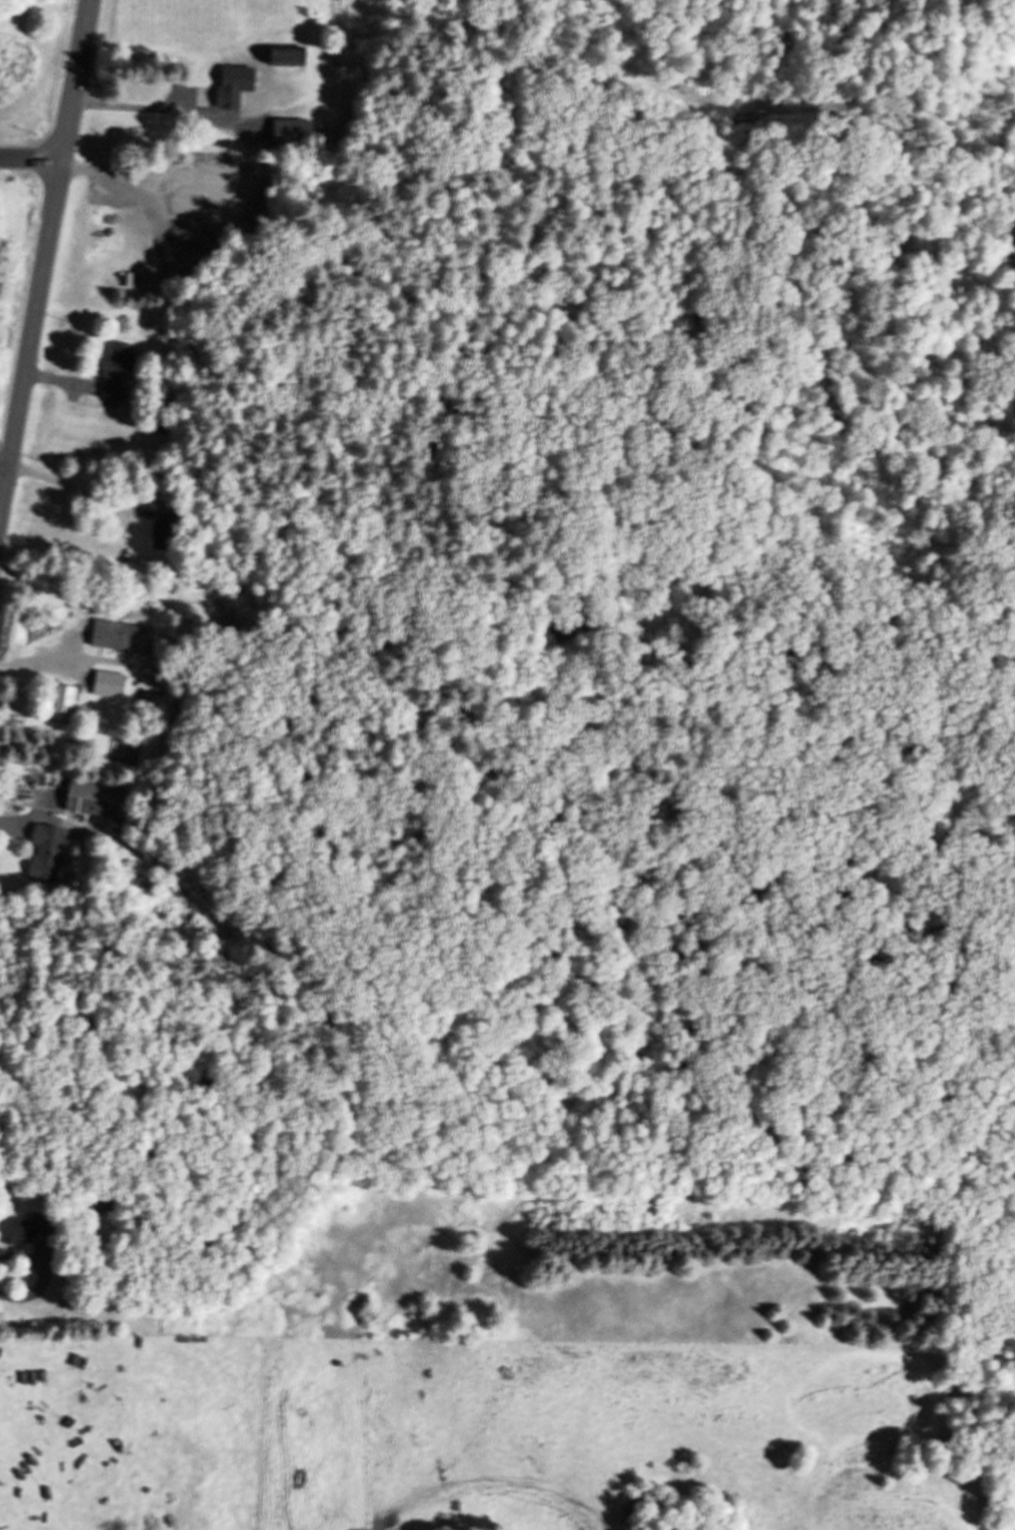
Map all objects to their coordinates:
building: (284, 57)
building: (191, 95)
building: (293, 131)
road: (31, 158)
building: (184, 233)
road: (45, 262)
building: (116, 371)
building: (163, 533)
building: (117, 638)
building: (108, 684)
building: (63, 701)
building: (98, 799)
building: (46, 853)
building: (26, 1227)

